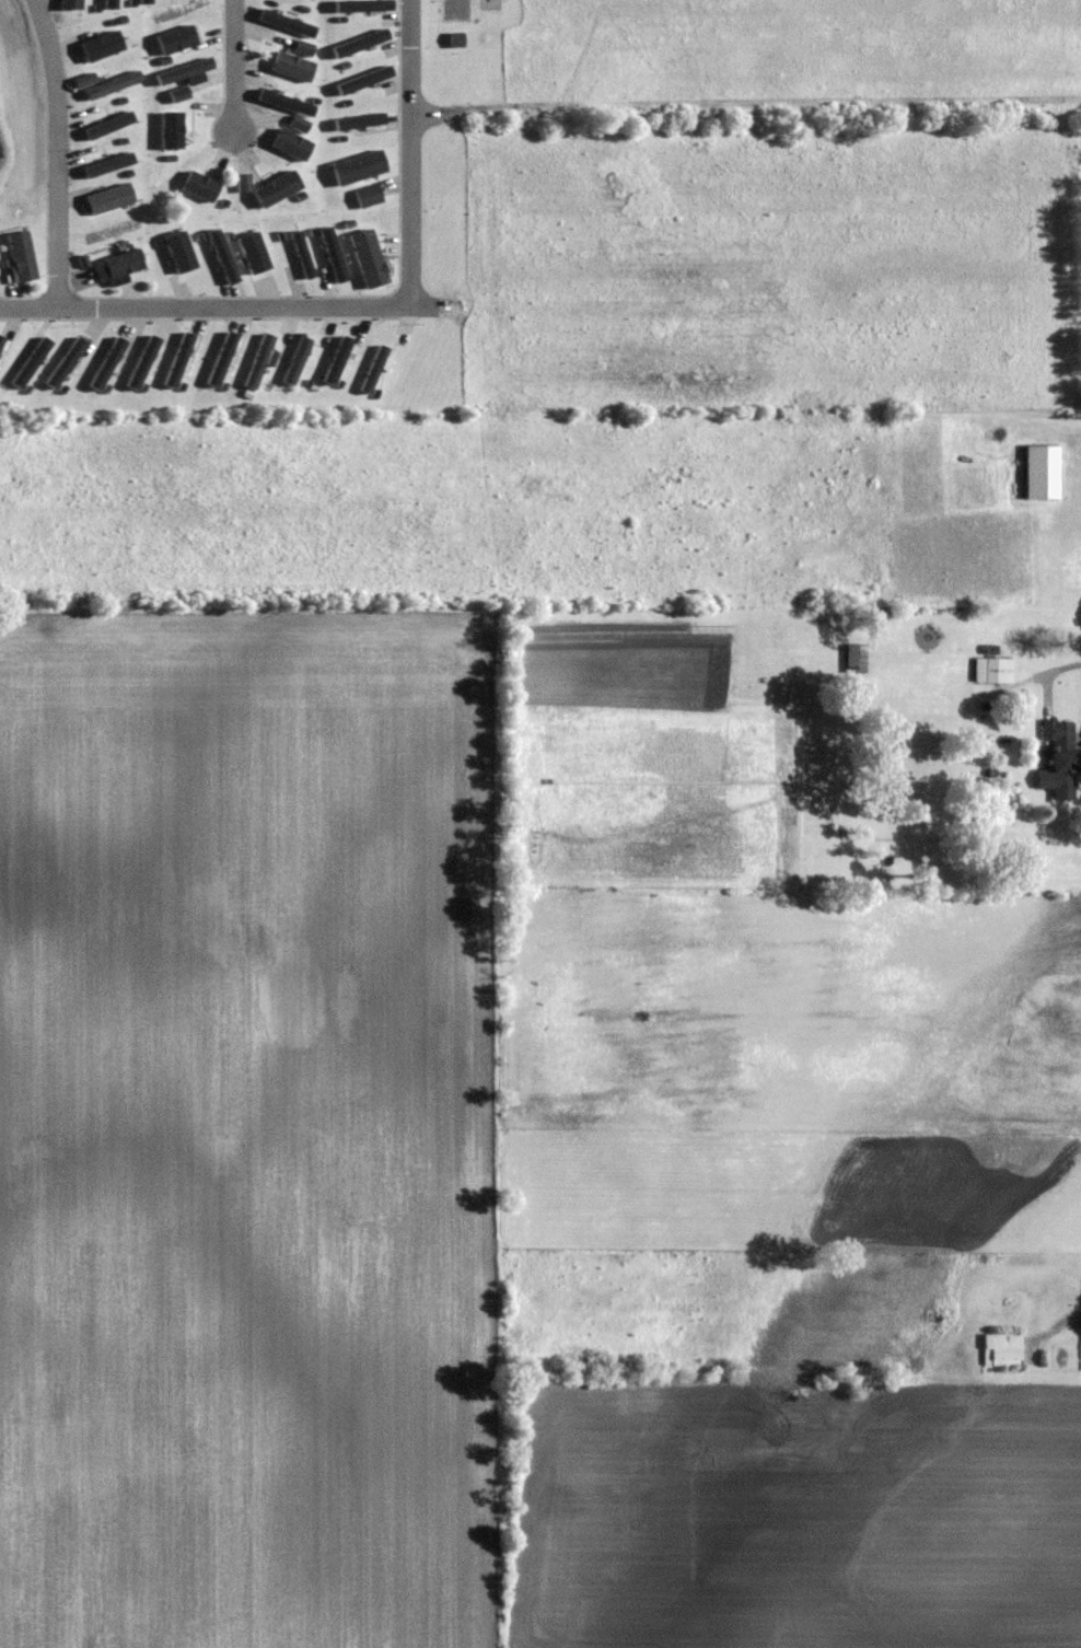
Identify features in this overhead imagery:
building: (71, 4)
building: (177, 39)
building: (455, 39)
building: (104, 46)
building: (303, 48)
road: (233, 67)
building: (292, 67)
building: (185, 72)
building: (113, 85)
building: (178, 94)
building: (299, 124)
building: (172, 130)
building: (291, 144)
road: (57, 152)
road: (410, 153)
building: (358, 167)
building: (243, 183)
building: (200, 187)
building: (277, 189)
building: (368, 196)
building: (109, 199)
building: (302, 255)
building: (22, 256)
building: (368, 257)
road: (213, 307)
building: (260, 360)
building: (297, 360)
building: (373, 368)
road: (1071, 439)
building: (1042, 472)
building: (857, 658)
building: (993, 670)
building: (1062, 756)
road: (1053, 1330)
building: (1002, 1349)

